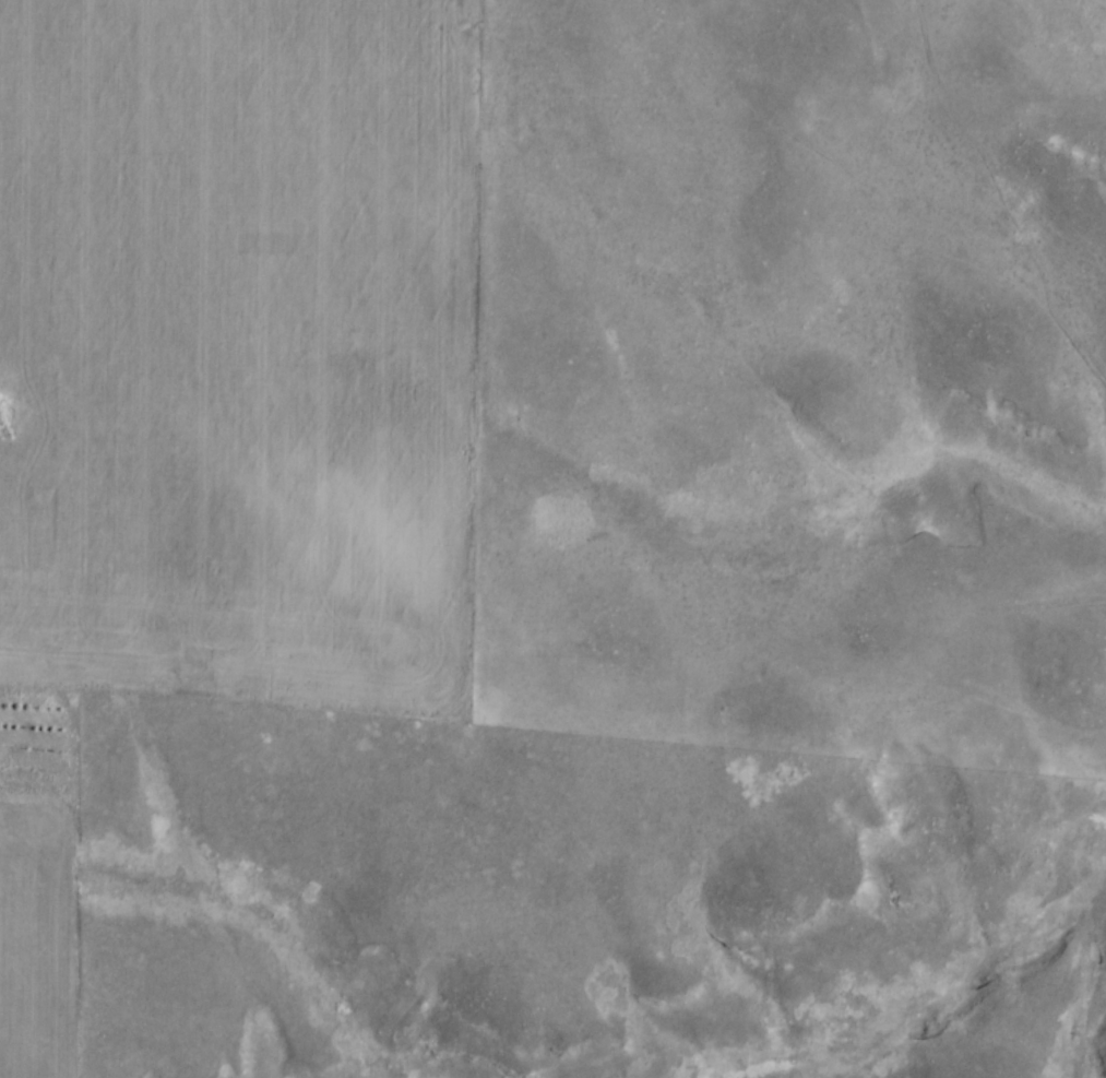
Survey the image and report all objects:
crop: (237, 346)
crop: (36, 931)

